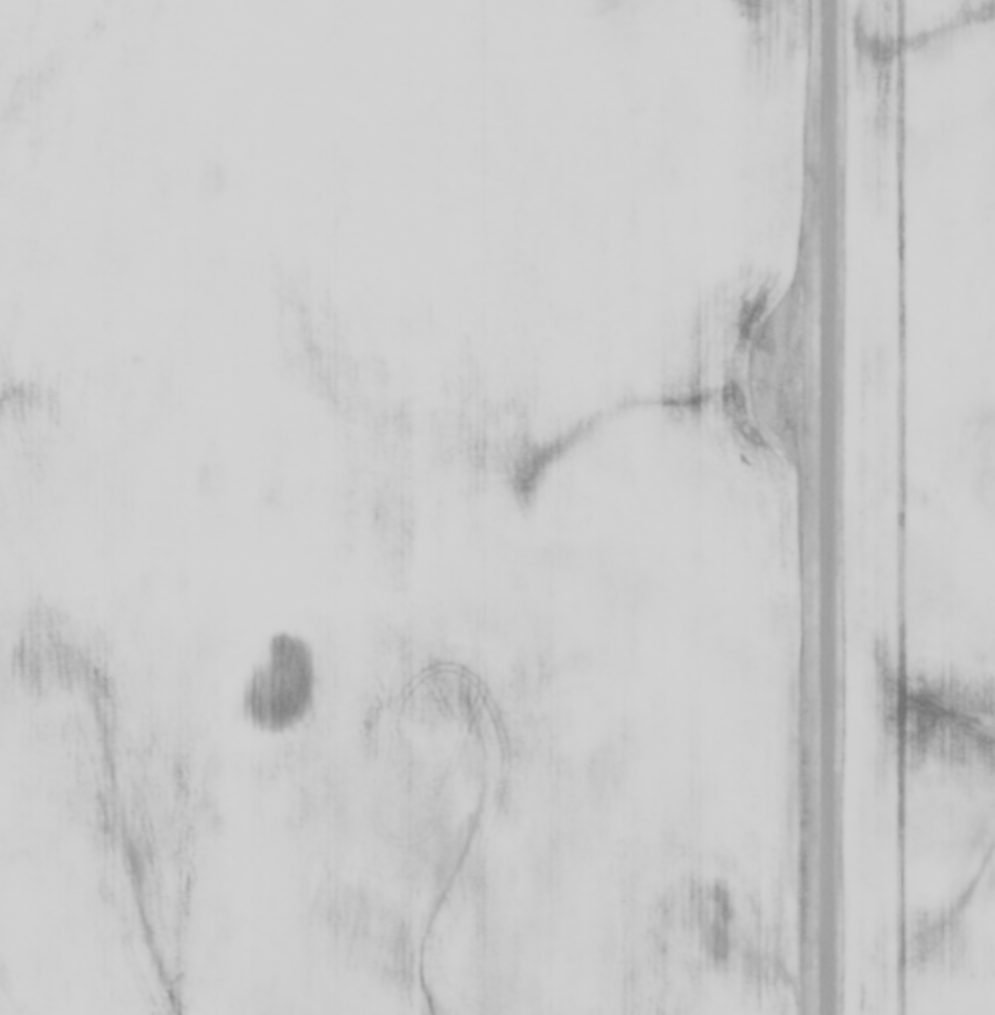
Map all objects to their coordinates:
road: (831, 507)

